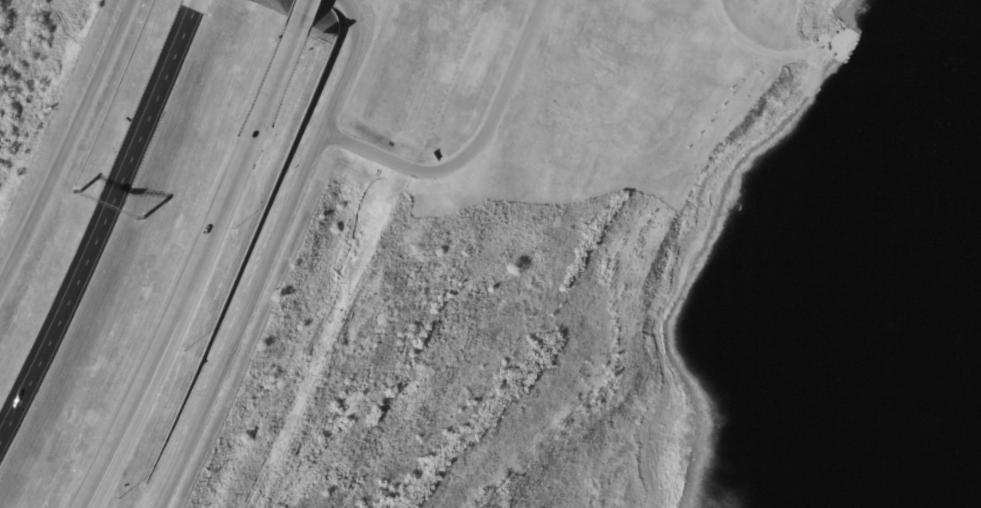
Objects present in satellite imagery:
road: (313, 12)
road: (766, 44)
road: (68, 144)
road: (472, 149)
road: (104, 221)
road: (269, 255)
road: (195, 267)
park: (630, 275)
road: (119, 452)

